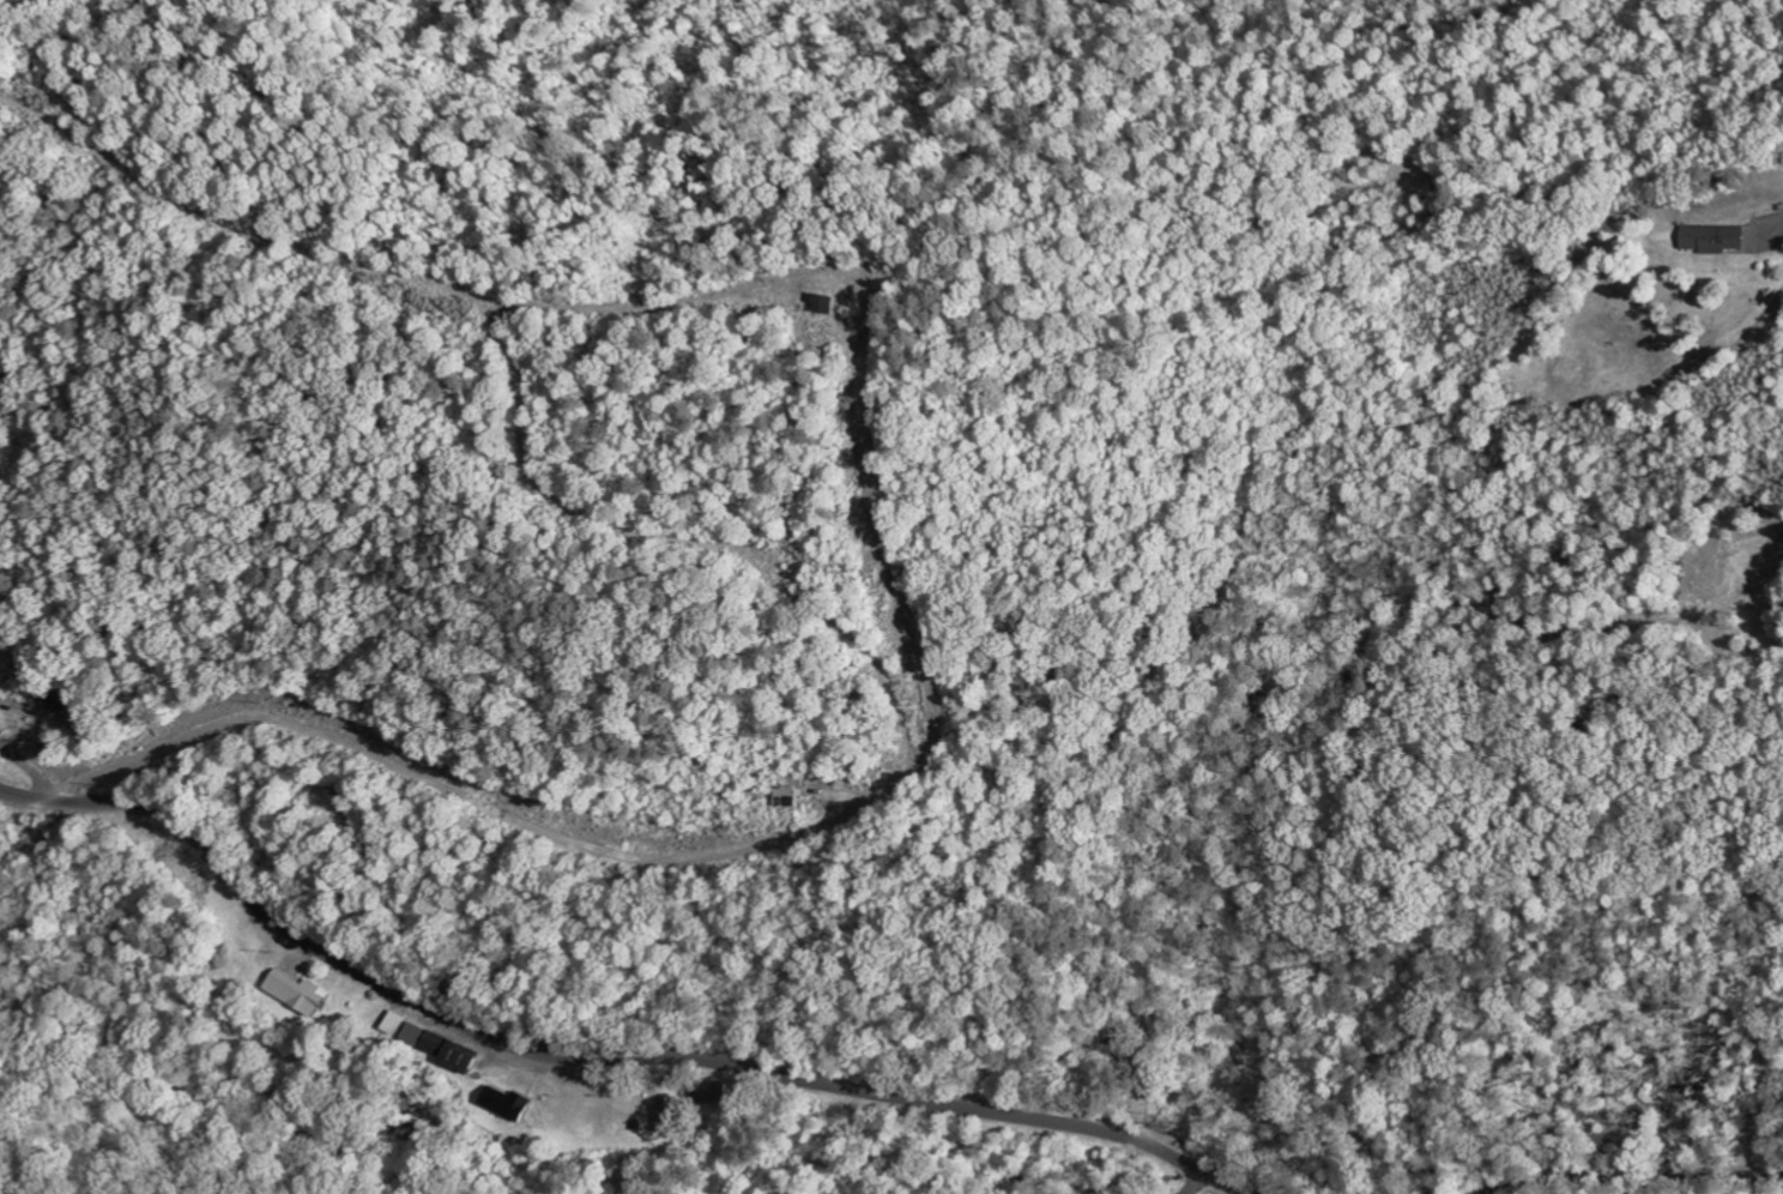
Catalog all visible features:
building: (1712, 240)
building: (823, 306)
road: (32, 772)
building: (782, 797)
building: (294, 993)
building: (392, 1024)
building: (437, 1048)
road: (590, 1059)
building: (713, 1092)
building: (506, 1103)
road: (1633, 1178)
road: (1196, 1184)

